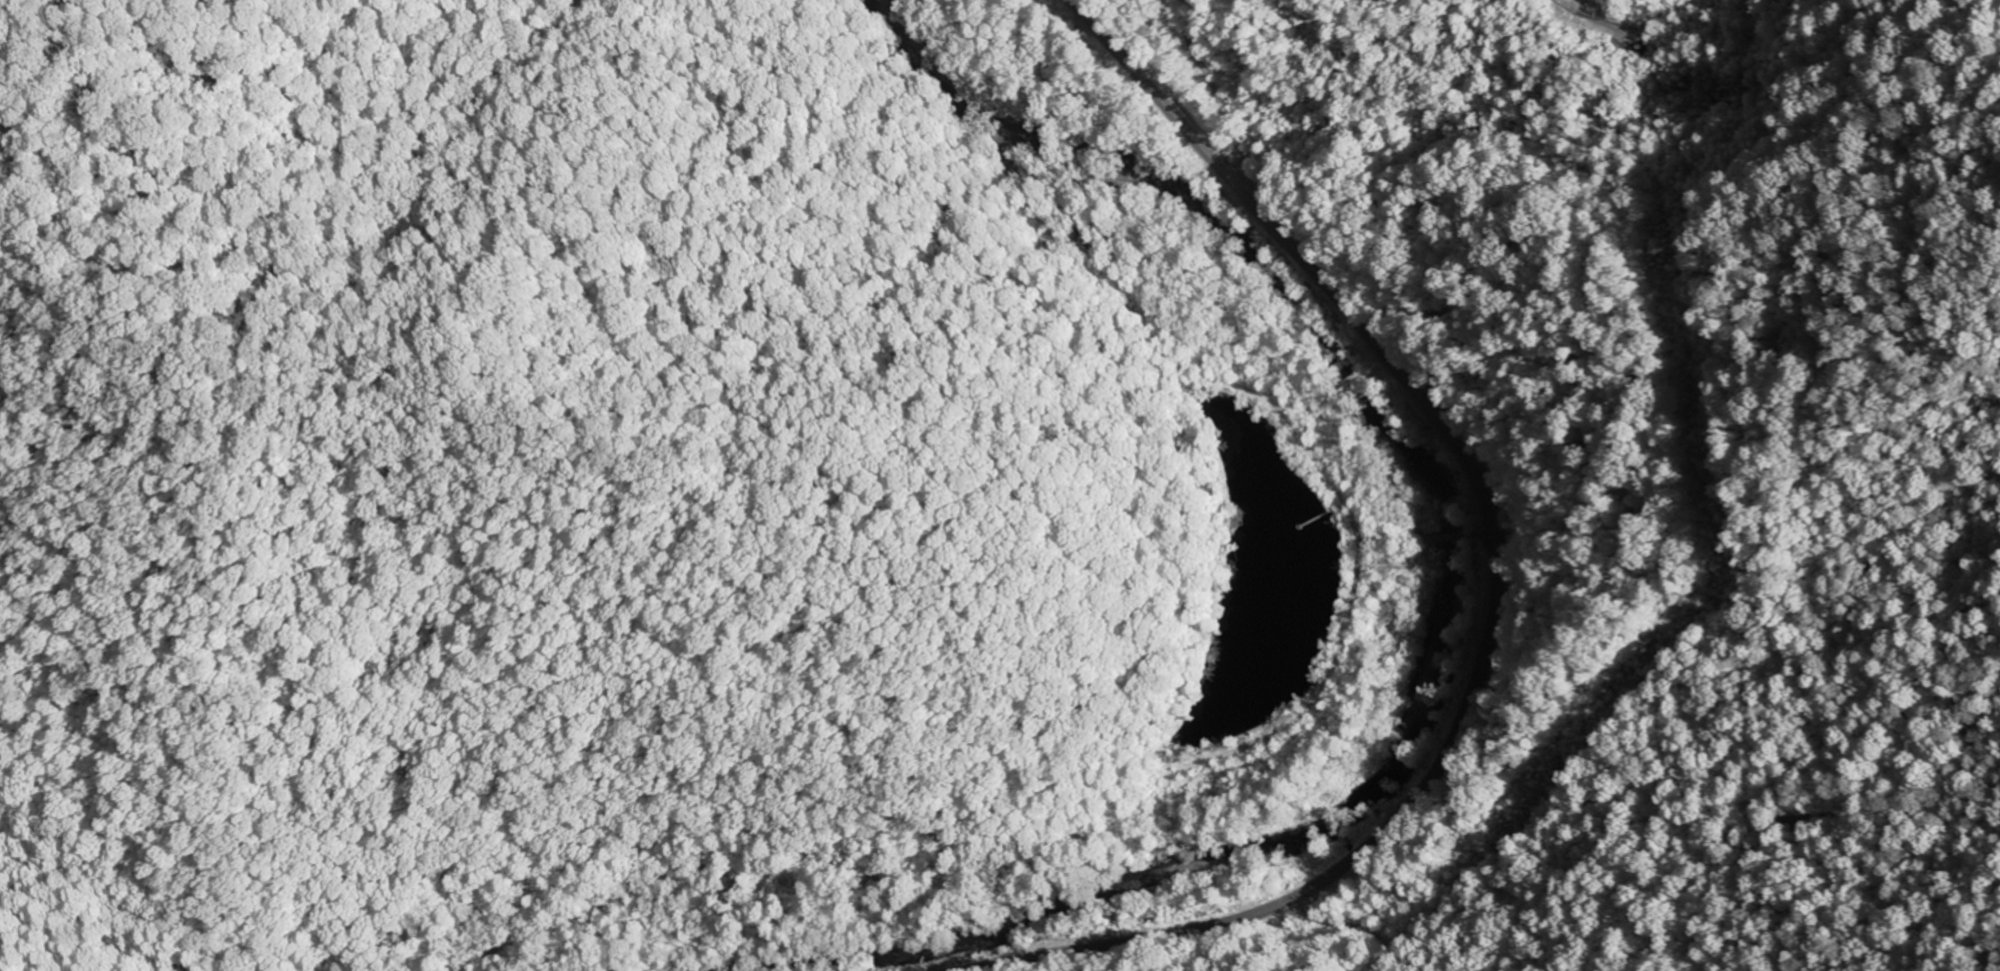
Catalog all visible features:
road: (1499, 589)

